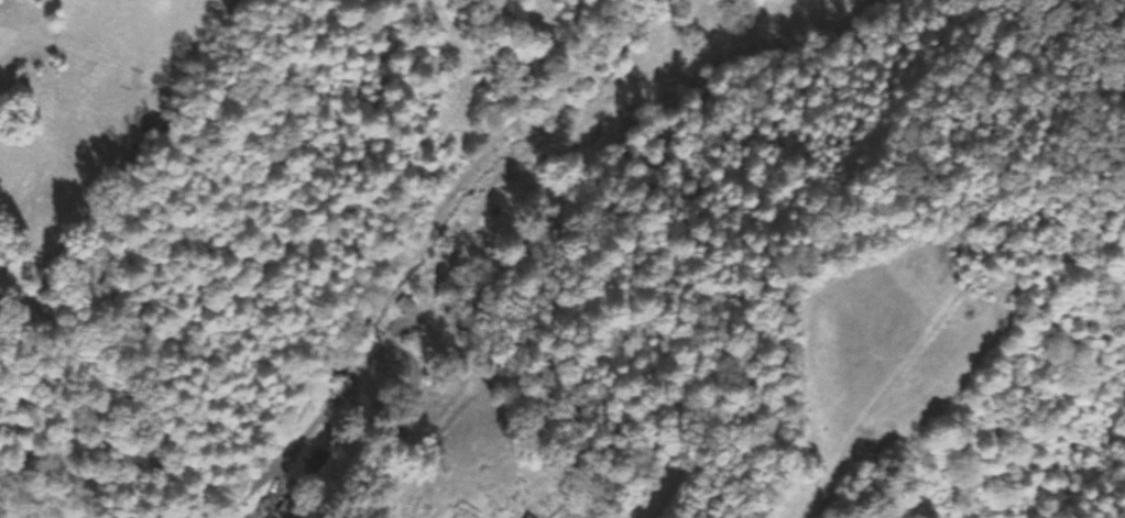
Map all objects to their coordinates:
road: (419, 243)
road: (413, 393)
building: (527, 517)

